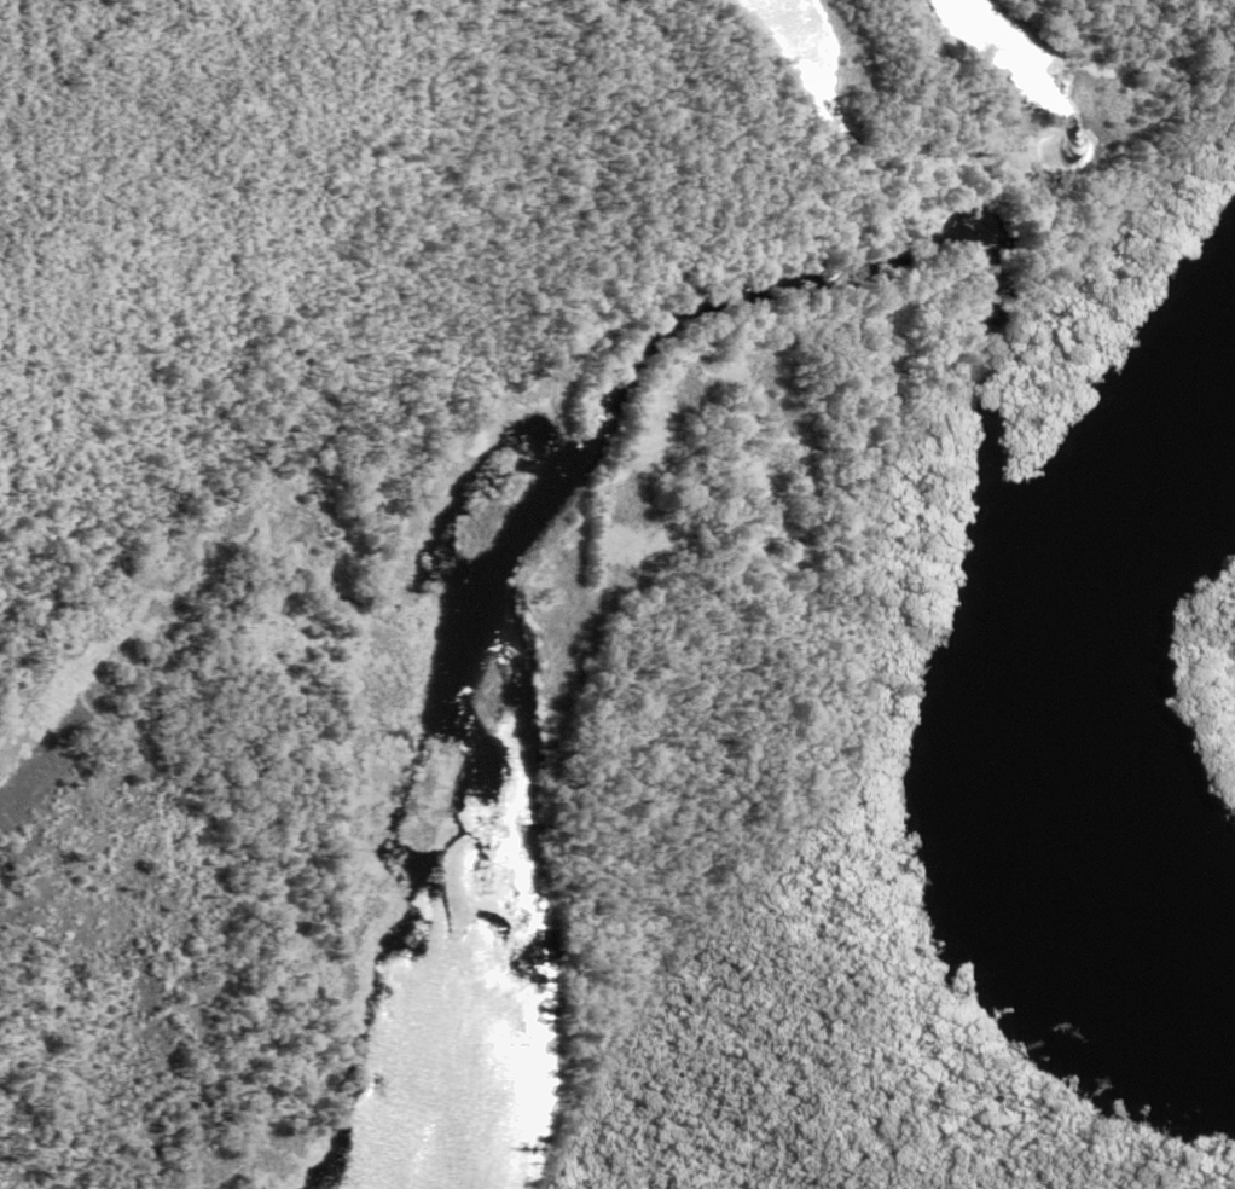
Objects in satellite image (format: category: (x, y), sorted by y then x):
river: (1098, 719)

